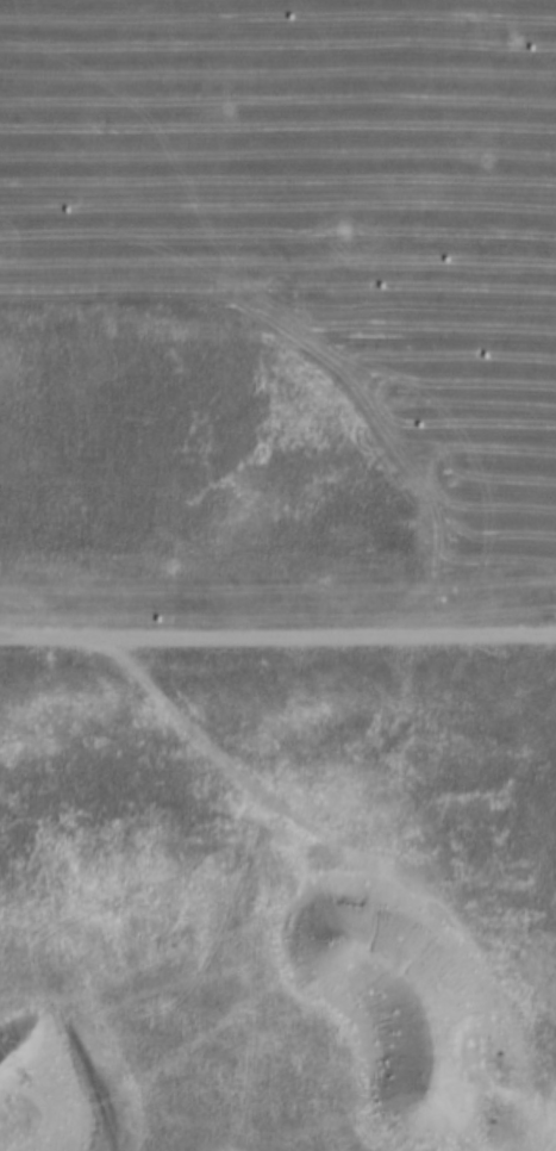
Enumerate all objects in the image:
road: (277, 634)

